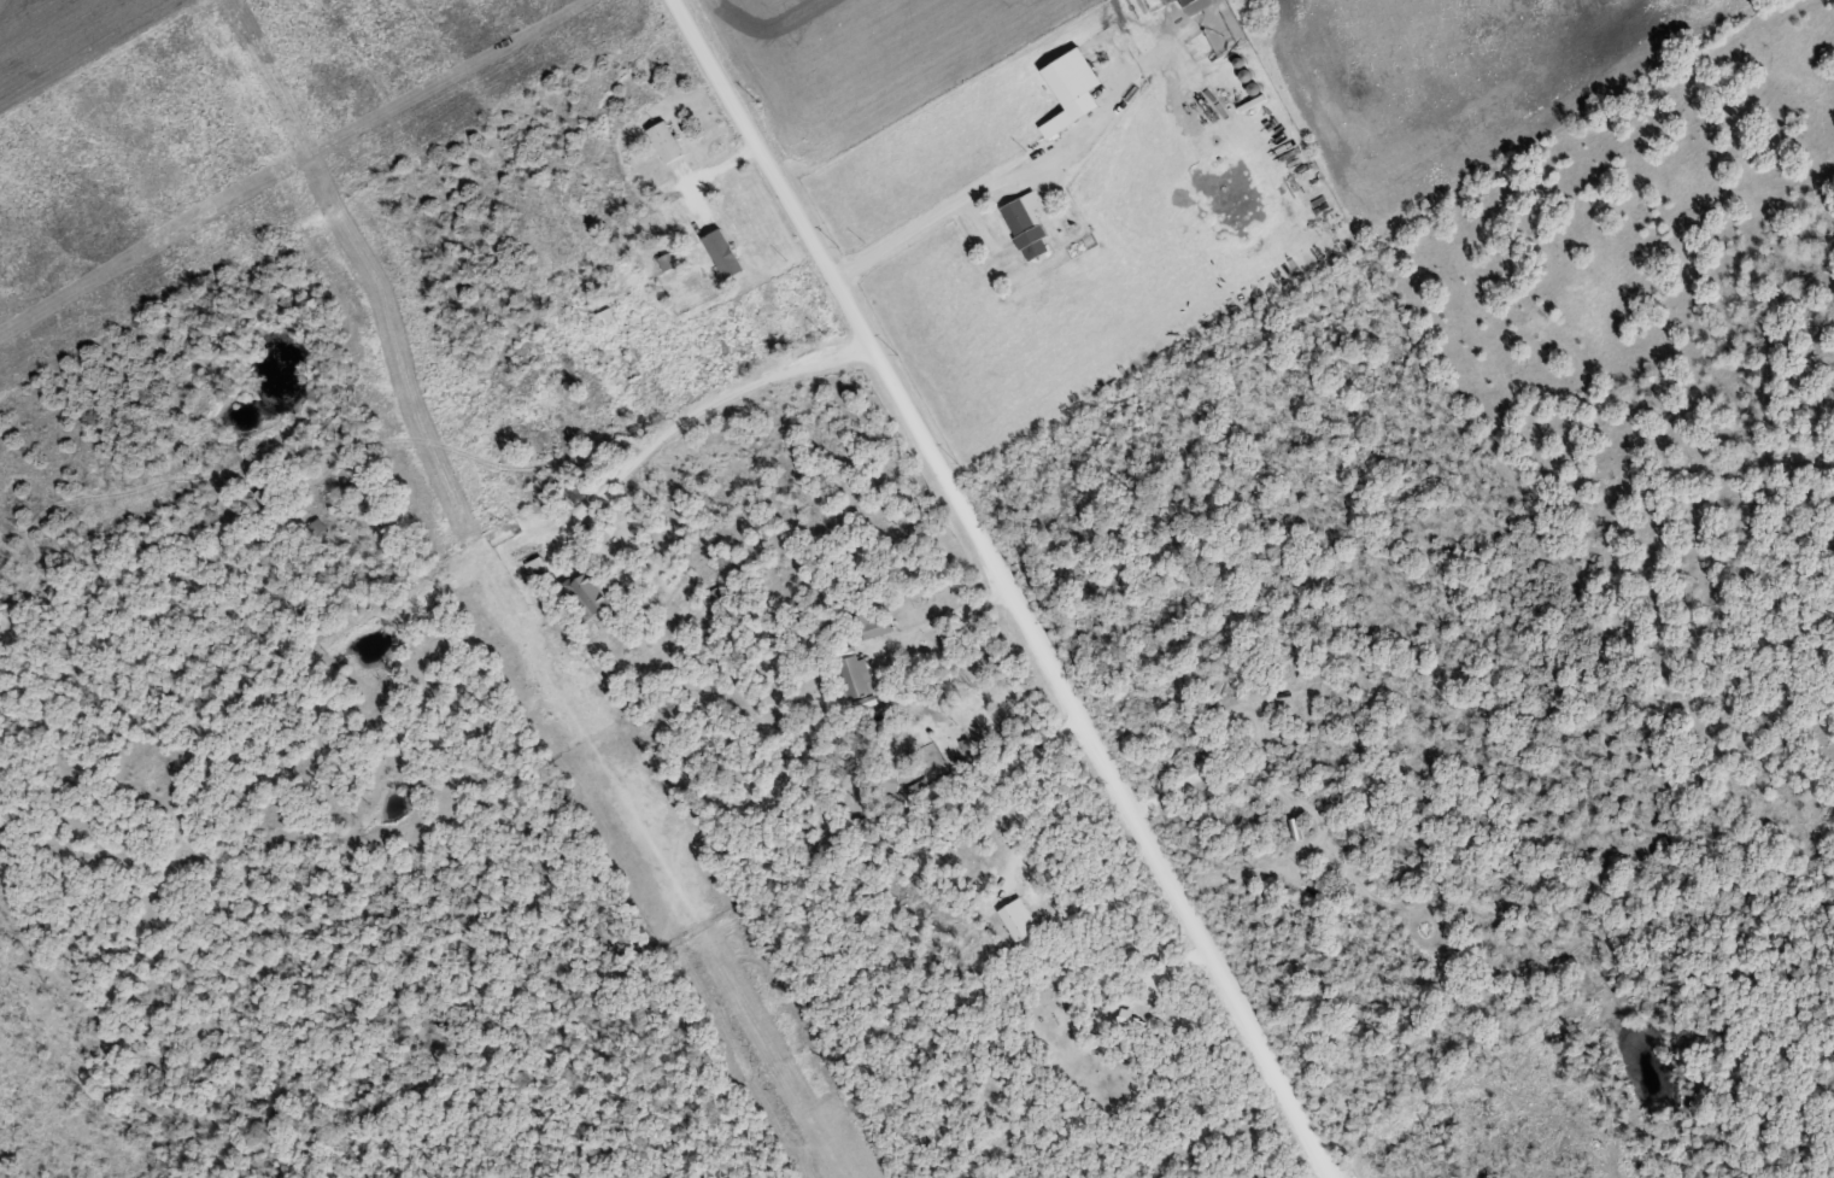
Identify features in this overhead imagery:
building: (1200, 5)
building: (1076, 76)
building: (1060, 125)
building: (668, 141)
road: (986, 183)
building: (1030, 224)
building: (726, 252)
road: (698, 409)
road: (404, 438)
building: (270, 504)
building: (317, 526)
building: (539, 567)
road: (1013, 587)
building: (591, 588)
road: (943, 619)
building: (855, 675)
building: (887, 778)
road: (1036, 790)
building: (1021, 918)
building: (1152, 1002)
road: (1636, 1092)

